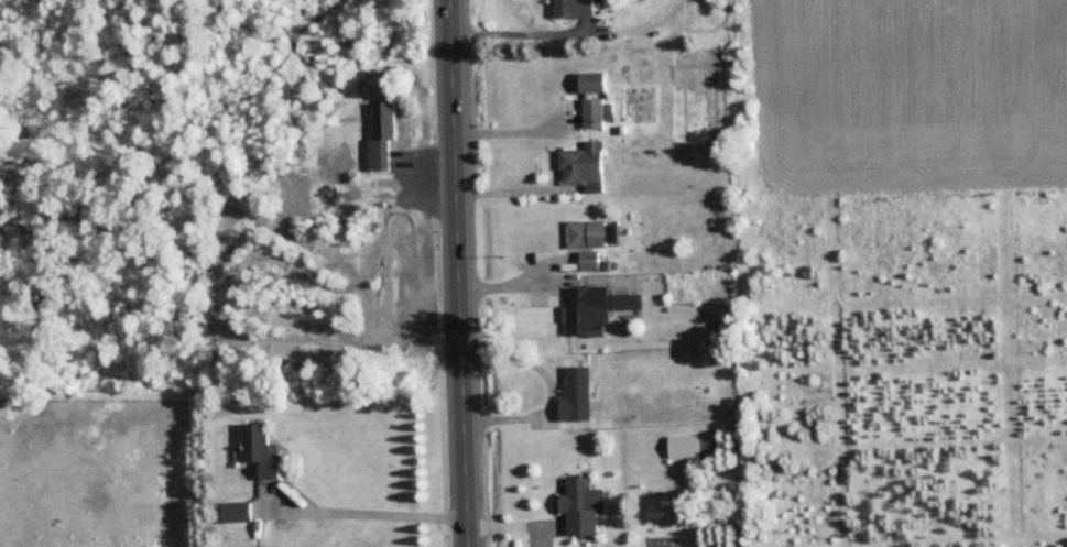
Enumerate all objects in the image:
building: (575, 8)
building: (592, 81)
crop: (902, 95)
building: (592, 112)
road: (520, 129)
building: (382, 135)
building: (583, 164)
road: (525, 187)
building: (586, 232)
road: (465, 273)
building: (597, 307)
building: (576, 392)
building: (688, 445)
building: (259, 447)
building: (578, 504)
road: (374, 508)
building: (237, 510)

